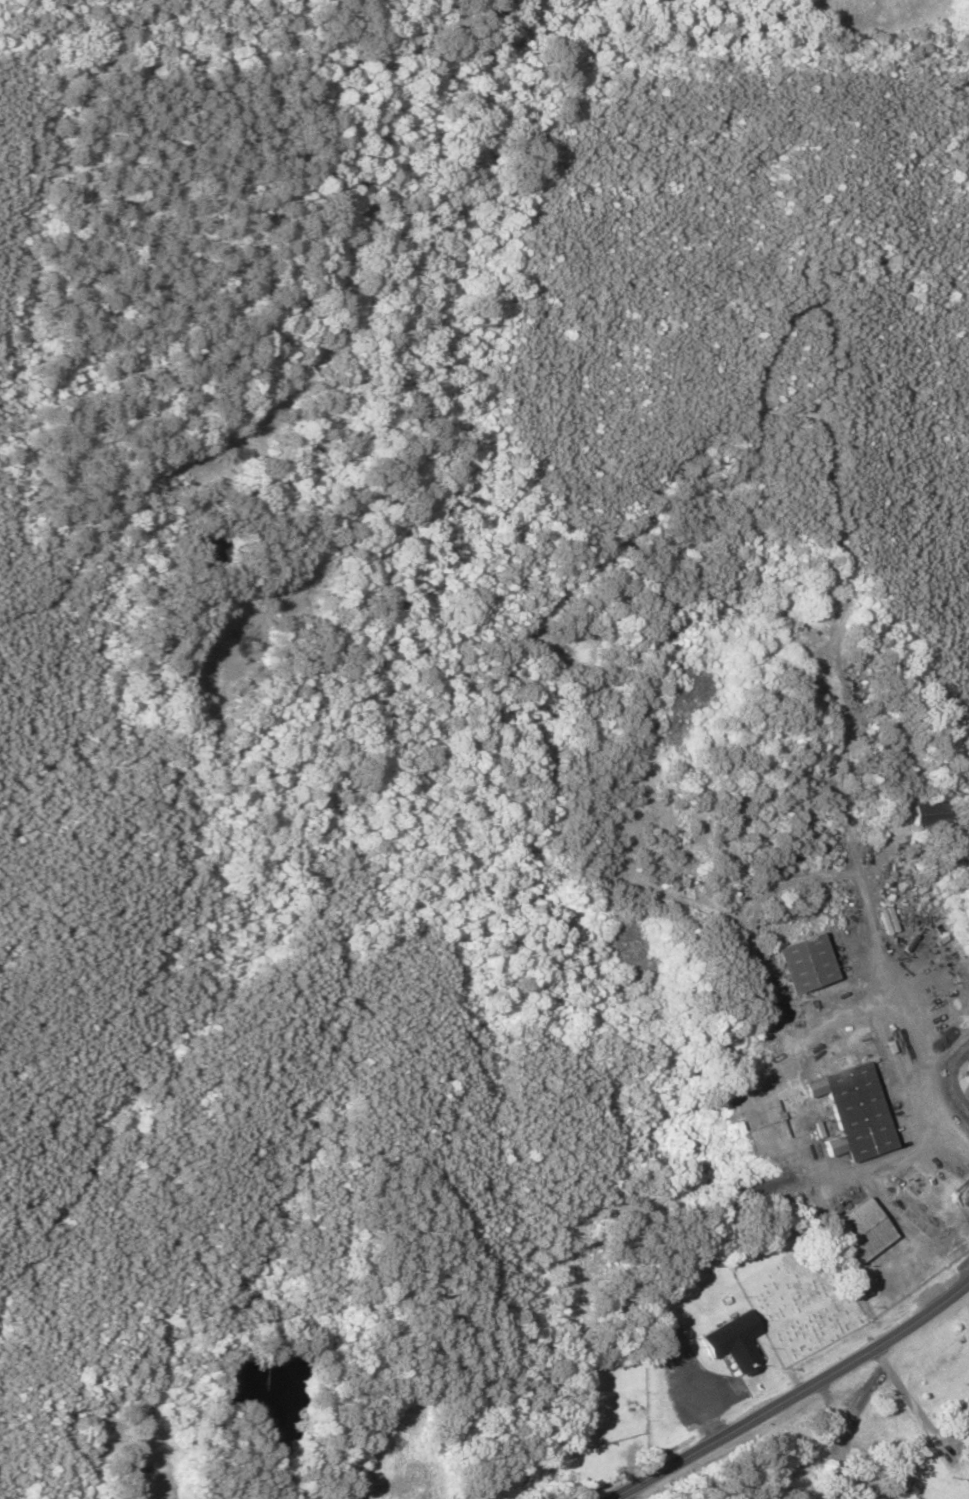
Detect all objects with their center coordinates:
building: (920, 811)
building: (802, 964)
building: (966, 1076)
building: (853, 1108)
building: (860, 1231)
building: (665, 1298)
building: (726, 1343)
road: (792, 1392)
building: (960, 1441)
building: (149, 1447)
building: (401, 1484)

